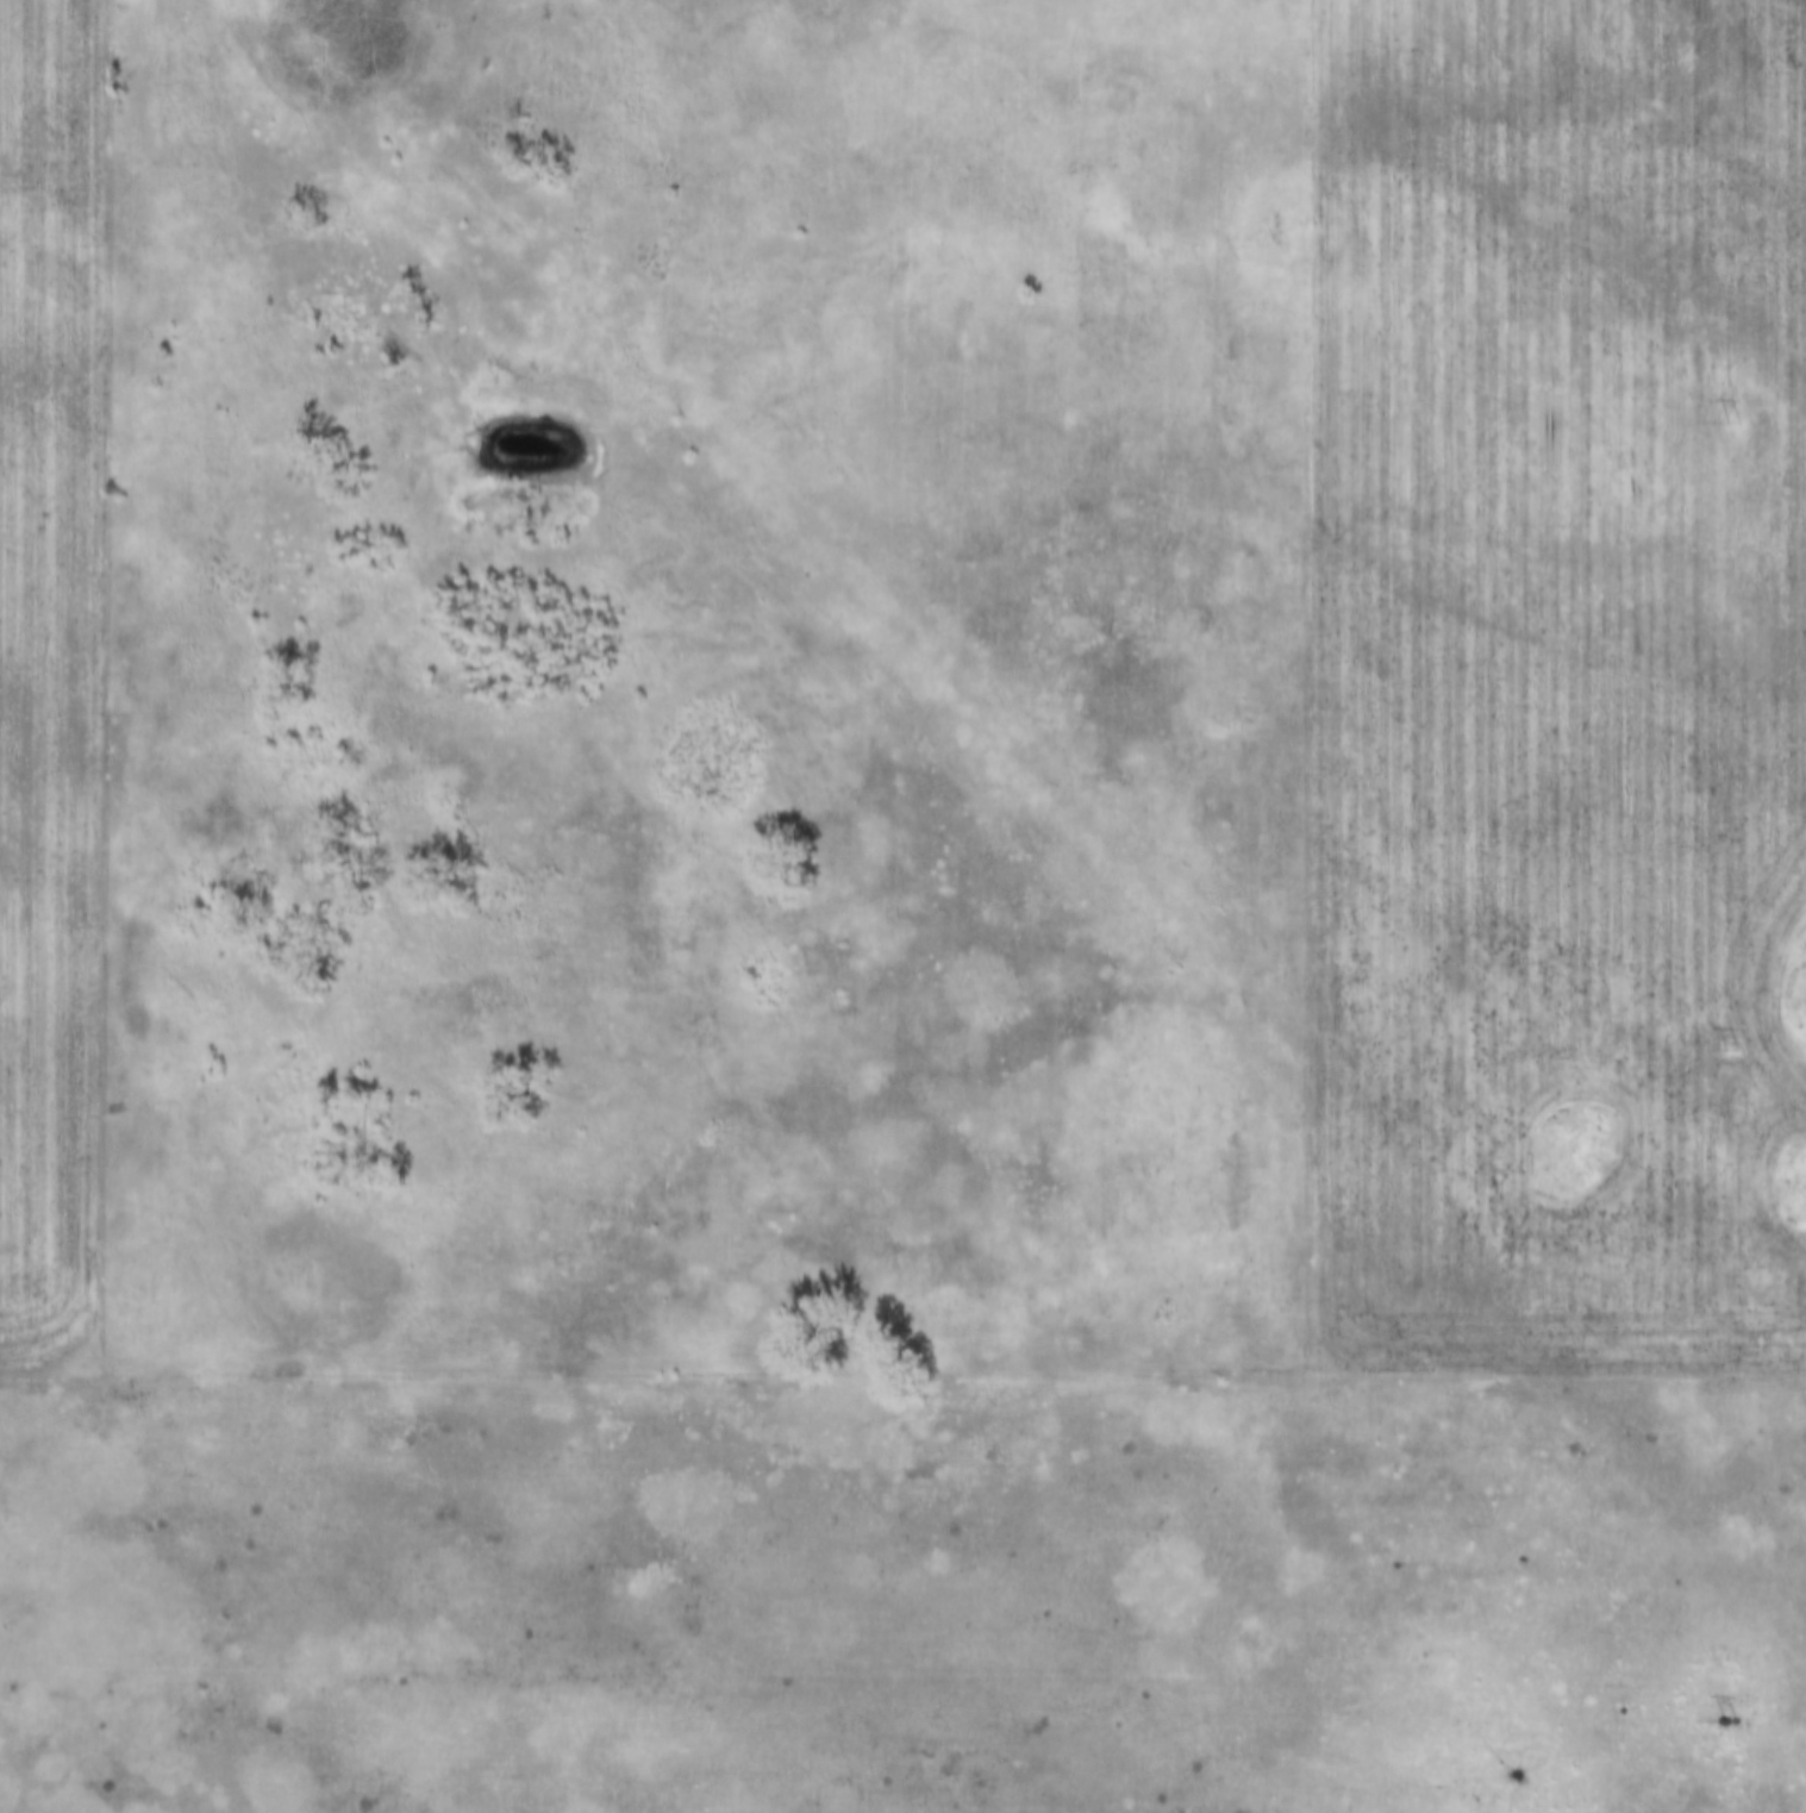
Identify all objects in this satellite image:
road: (1786, 988)

